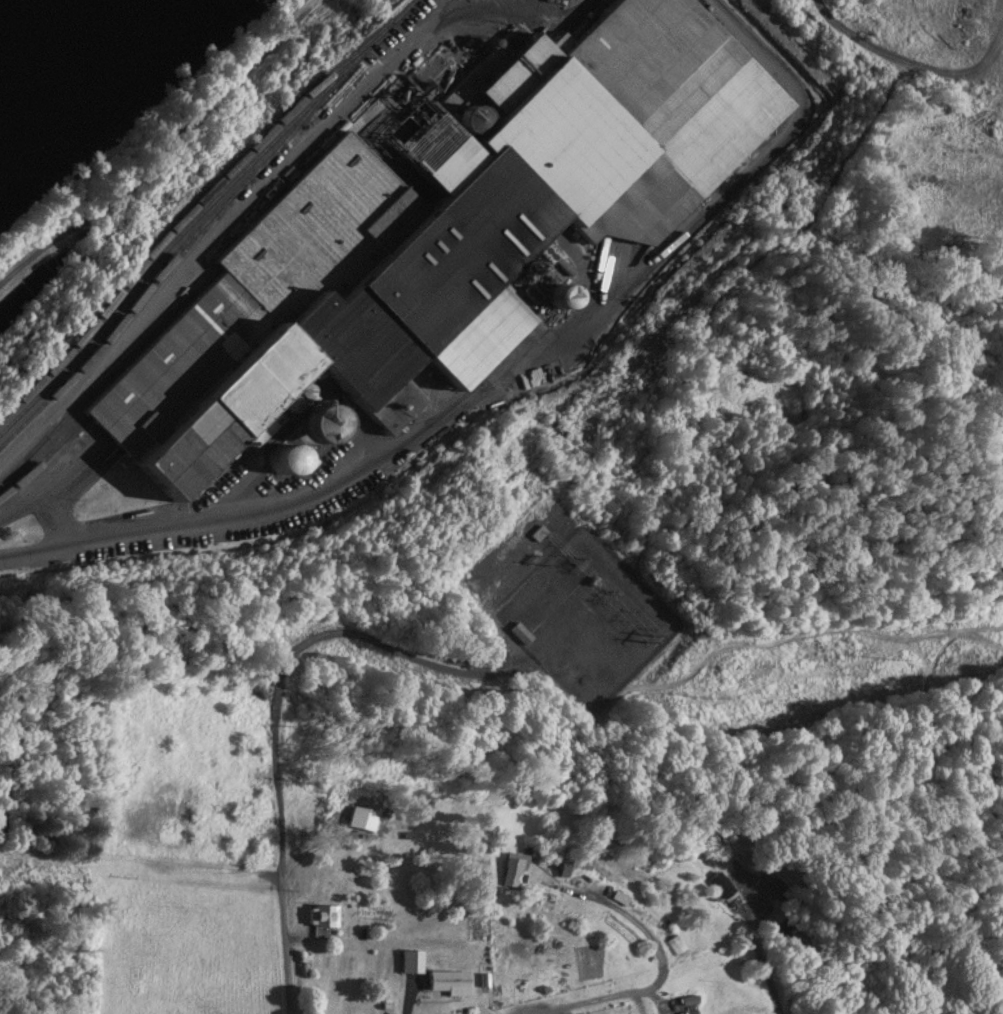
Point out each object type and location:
building: (567, 0)
railway: (195, 206)
railway: (203, 210)
building: (442, 229)
railway: (172, 260)
railway: (145, 307)
railway: (159, 347)
railway: (107, 375)
railway: (46, 457)
road: (238, 521)
power substation: (570, 605)
building: (524, 635)
building: (402, 830)
building: (565, 869)
building: (718, 883)
building: (325, 917)
building: (675, 947)
road: (279, 956)
building: (414, 962)
road: (557, 982)
building: (450, 983)

